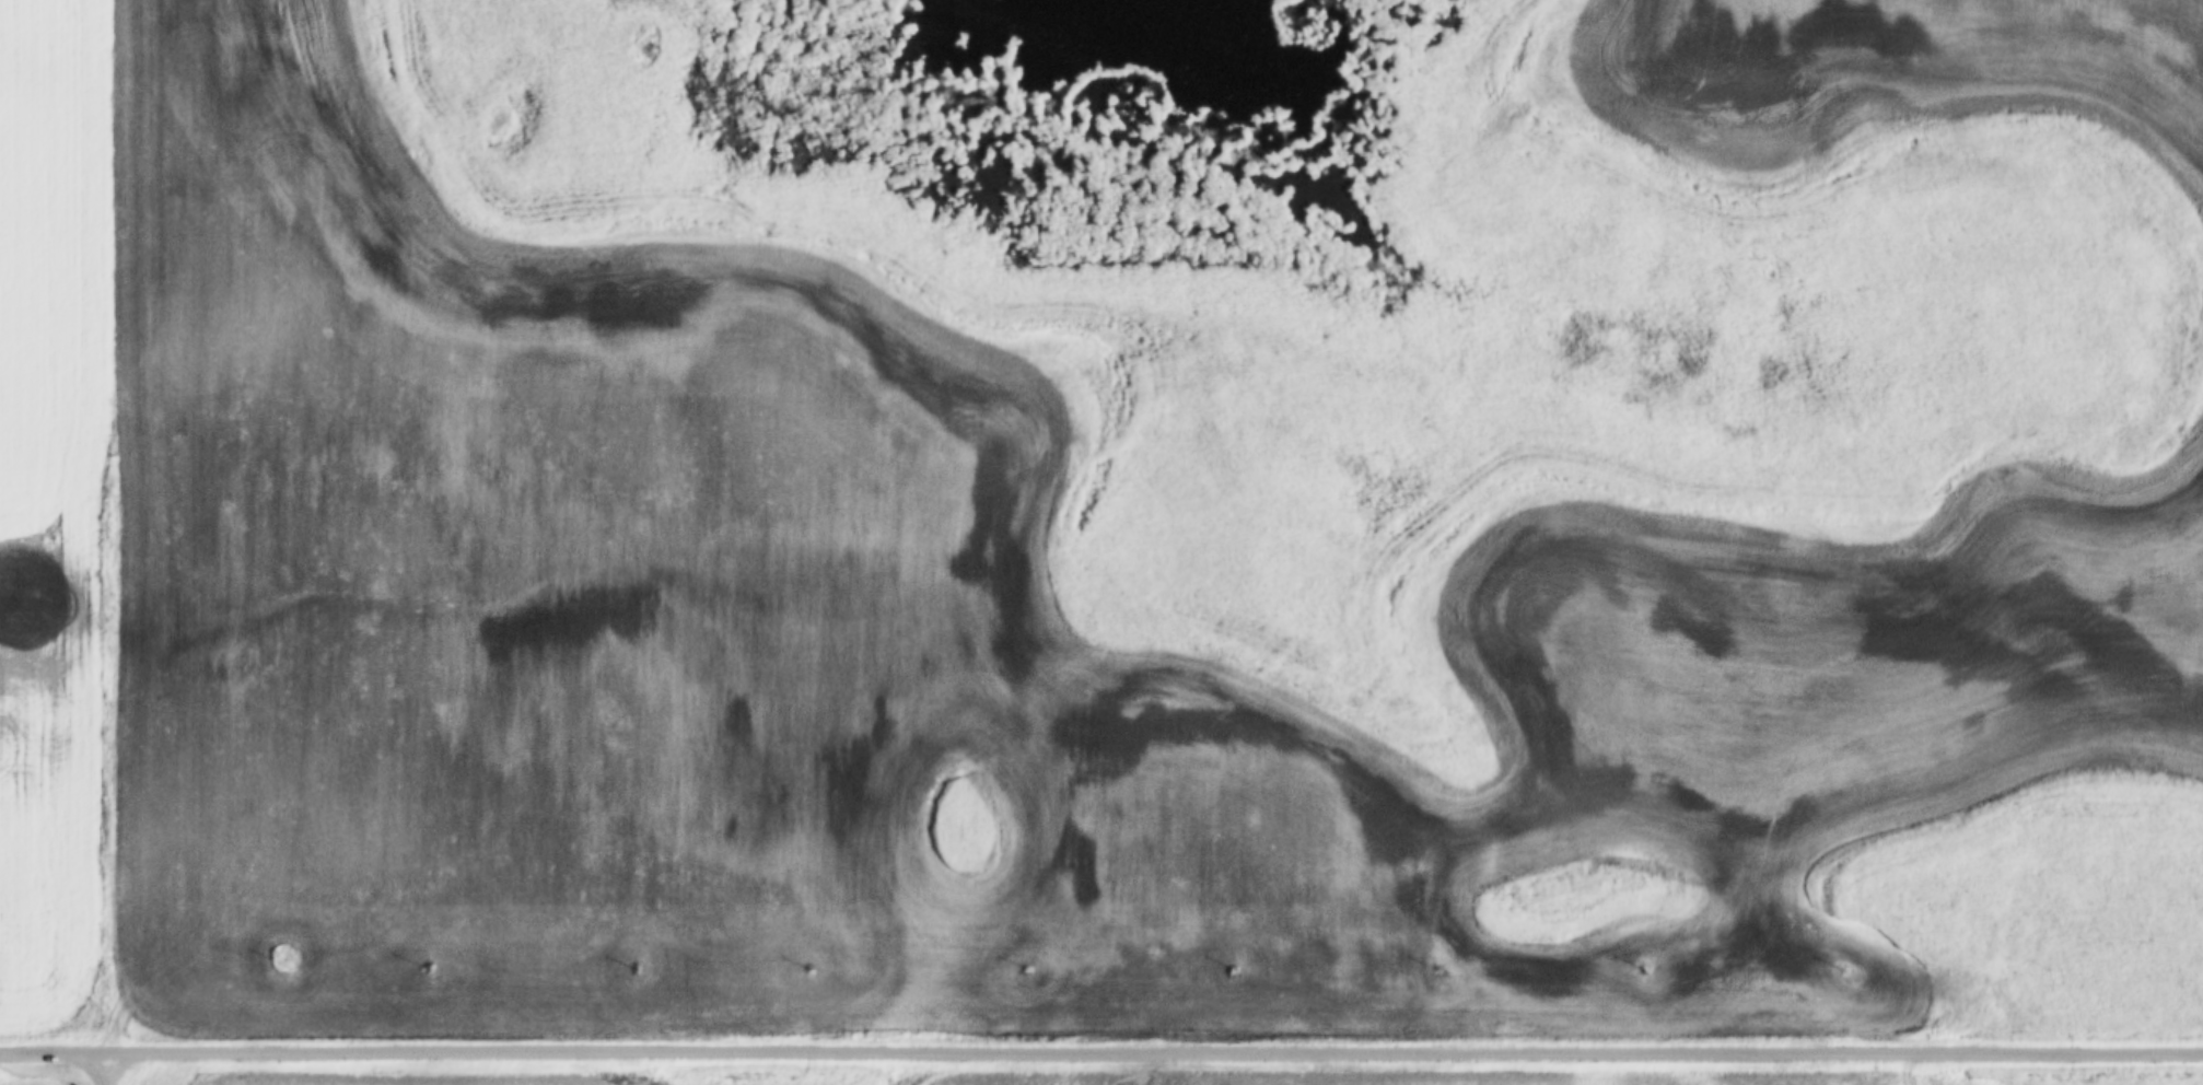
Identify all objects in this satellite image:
road: (113, 524)
road: (1100, 1046)
road: (107, 1066)

